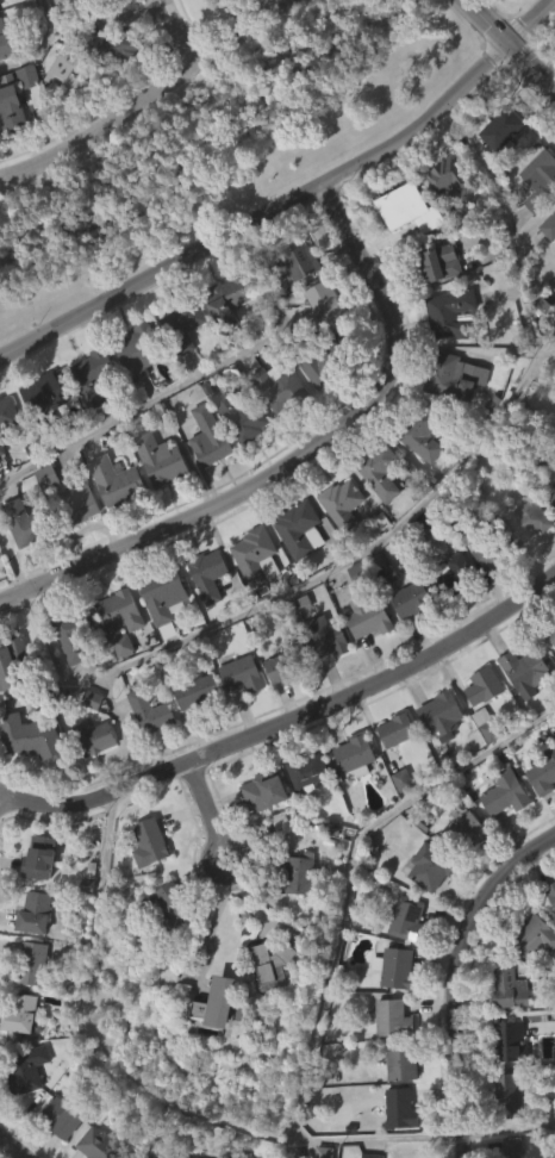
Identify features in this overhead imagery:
building: (77, 2)
building: (91, 2)
building: (257, 5)
building: (0, 6)
building: (204, 18)
building: (92, 24)
building: (49, 29)
road: (177, 32)
building: (6, 39)
building: (108, 45)
road: (509, 45)
road: (44, 48)
building: (70, 68)
building: (107, 94)
road: (145, 95)
building: (14, 102)
building: (62, 119)
building: (506, 125)
building: (8, 154)
building: (498, 174)
building: (453, 175)
building: (542, 181)
road: (289, 198)
building: (443, 224)
building: (549, 228)
building: (404, 254)
building: (294, 261)
building: (441, 263)
building: (547, 272)
building: (226, 300)
building: (295, 304)
building: (323, 307)
building: (451, 313)
building: (183, 324)
building: (223, 345)
building: (143, 350)
road: (545, 354)
building: (324, 361)
building: (179, 363)
building: (93, 378)
building: (454, 378)
building: (279, 390)
building: (136, 397)
building: (45, 401)
building: (322, 405)
building: (10, 413)
building: (245, 415)
road: (121, 419)
building: (450, 422)
building: (89, 423)
building: (274, 432)
building: (420, 432)
building: (43, 438)
building: (208, 438)
building: (1, 449)
road: (300, 455)
building: (158, 461)
building: (379, 469)
building: (119, 481)
building: (205, 482)
building: (419, 485)
building: (551, 494)
building: (0, 496)
building: (343, 500)
building: (156, 505)
building: (76, 506)
building: (376, 519)
road: (411, 519)
building: (528, 519)
building: (26, 523)
building: (113, 527)
building: (303, 529)
building: (549, 541)
building: (76, 548)
building: (337, 548)
building: (491, 549)
building: (256, 555)
road: (13, 564)
building: (523, 566)
building: (19, 567)
building: (207, 574)
building: (295, 574)
building: (454, 575)
building: (163, 597)
building: (412, 599)
building: (482, 600)
building: (251, 602)
building: (367, 616)
building: (450, 618)
building: (123, 620)
building: (204, 621)
building: (550, 629)
building: (77, 634)
building: (324, 636)
building: (406, 643)
building: (160, 645)
building: (13, 661)
building: (292, 662)
building: (363, 662)
building: (117, 665)
building: (530, 671)
building: (242, 674)
building: (549, 679)
building: (67, 683)
building: (322, 683)
building: (484, 685)
building: (195, 691)
building: (10, 706)
building: (150, 710)
building: (274, 714)
building: (445, 716)
building: (522, 716)
building: (237, 720)
road: (287, 720)
building: (487, 724)
road: (124, 728)
building: (397, 729)
building: (30, 736)
building: (92, 737)
building: (192, 737)
building: (145, 755)
building: (358, 755)
building: (436, 760)
building: (307, 770)
building: (481, 770)
building: (544, 773)
building: (392, 774)
building: (27, 782)
building: (88, 783)
building: (264, 790)
building: (505, 791)
building: (350, 799)
road: (208, 810)
building: (304, 815)
building: (540, 818)
building: (464, 832)
building: (260, 836)
building: (500, 838)
building: (154, 842)
building: (44, 859)
building: (429, 866)
building: (299, 874)
building: (461, 876)
building: (145, 888)
building: (551, 891)
building: (170, 907)
road: (255, 908)
building: (424, 911)
building: (38, 914)
road: (214, 917)
building: (406, 917)
building: (294, 919)
building: (534, 936)
building: (162, 952)
building: (30, 964)
building: (394, 967)
road: (456, 977)
building: (515, 988)
building: (268, 1009)
building: (26, 1013)
building: (392, 1019)
building: (512, 1039)
building: (211, 1048)
building: (401, 1061)
building: (25, 1070)
building: (510, 1094)
building: (400, 1109)
building: (21, 1115)
building: (62, 1117)
road: (509, 1129)
building: (504, 1135)
building: (104, 1144)
building: (395, 1146)
road: (12, 1147)
building: (56, 1151)
building: (183, 1157)

